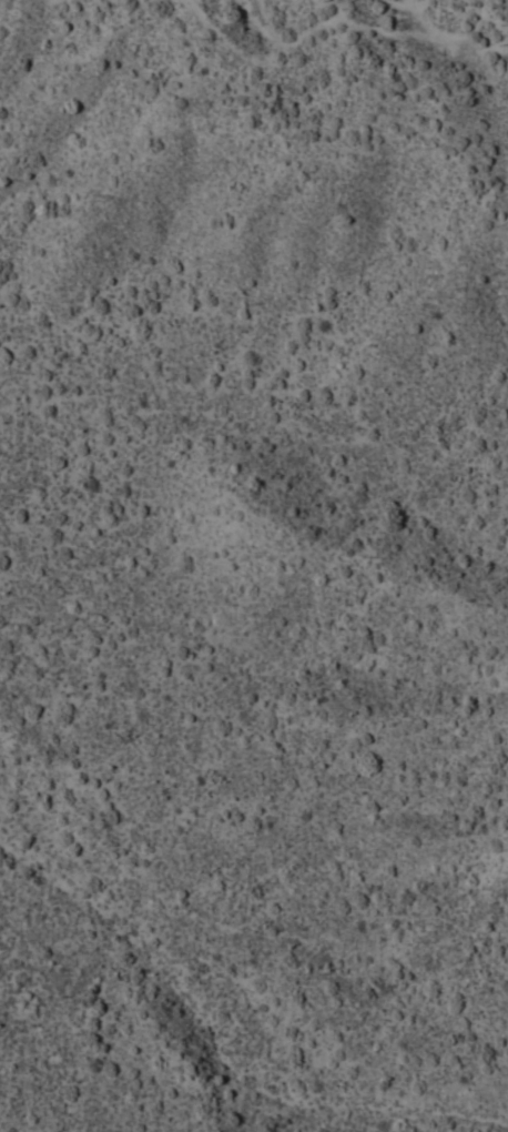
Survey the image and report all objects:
road: (165, 371)

